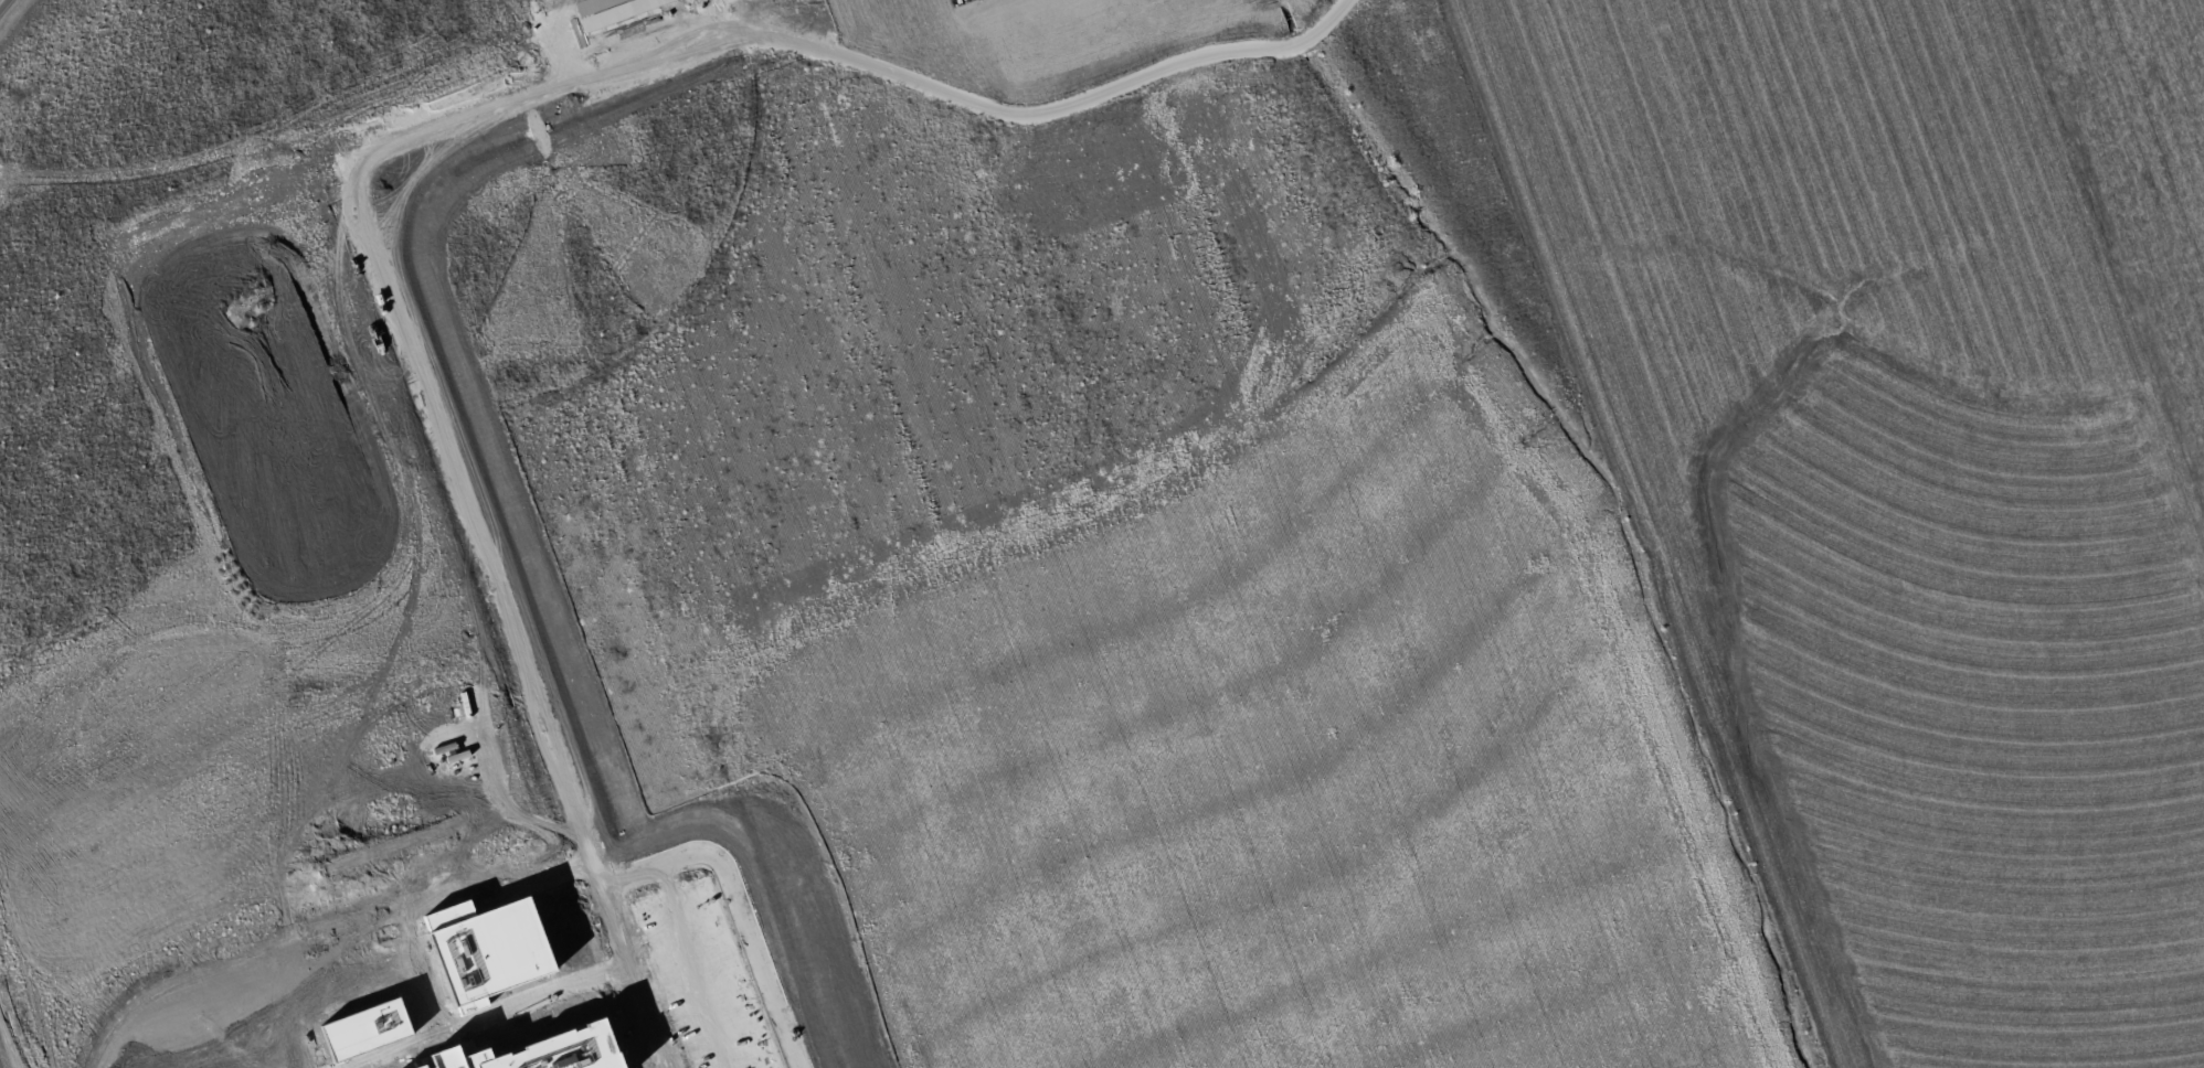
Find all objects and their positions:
road: (2, 2)
road: (727, 865)
road: (542, 1000)

